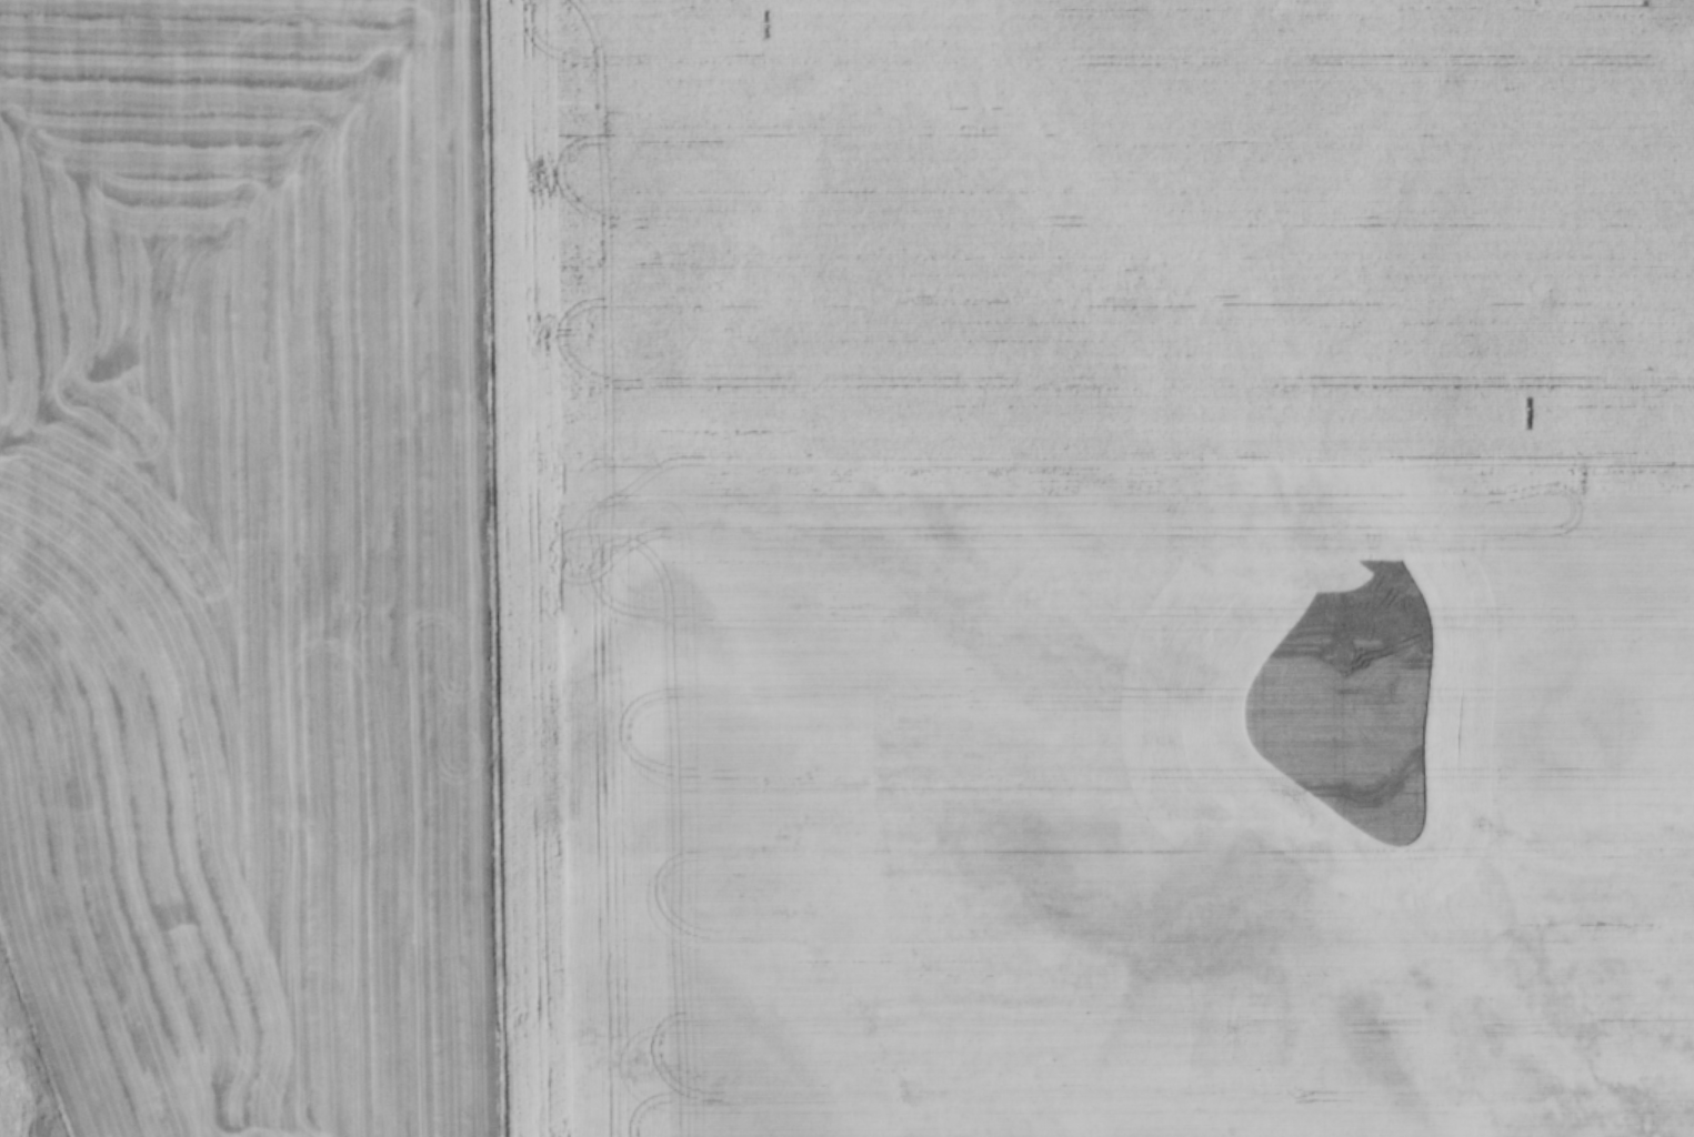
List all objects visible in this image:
crop: (243, 565)
crop: (1092, 566)

